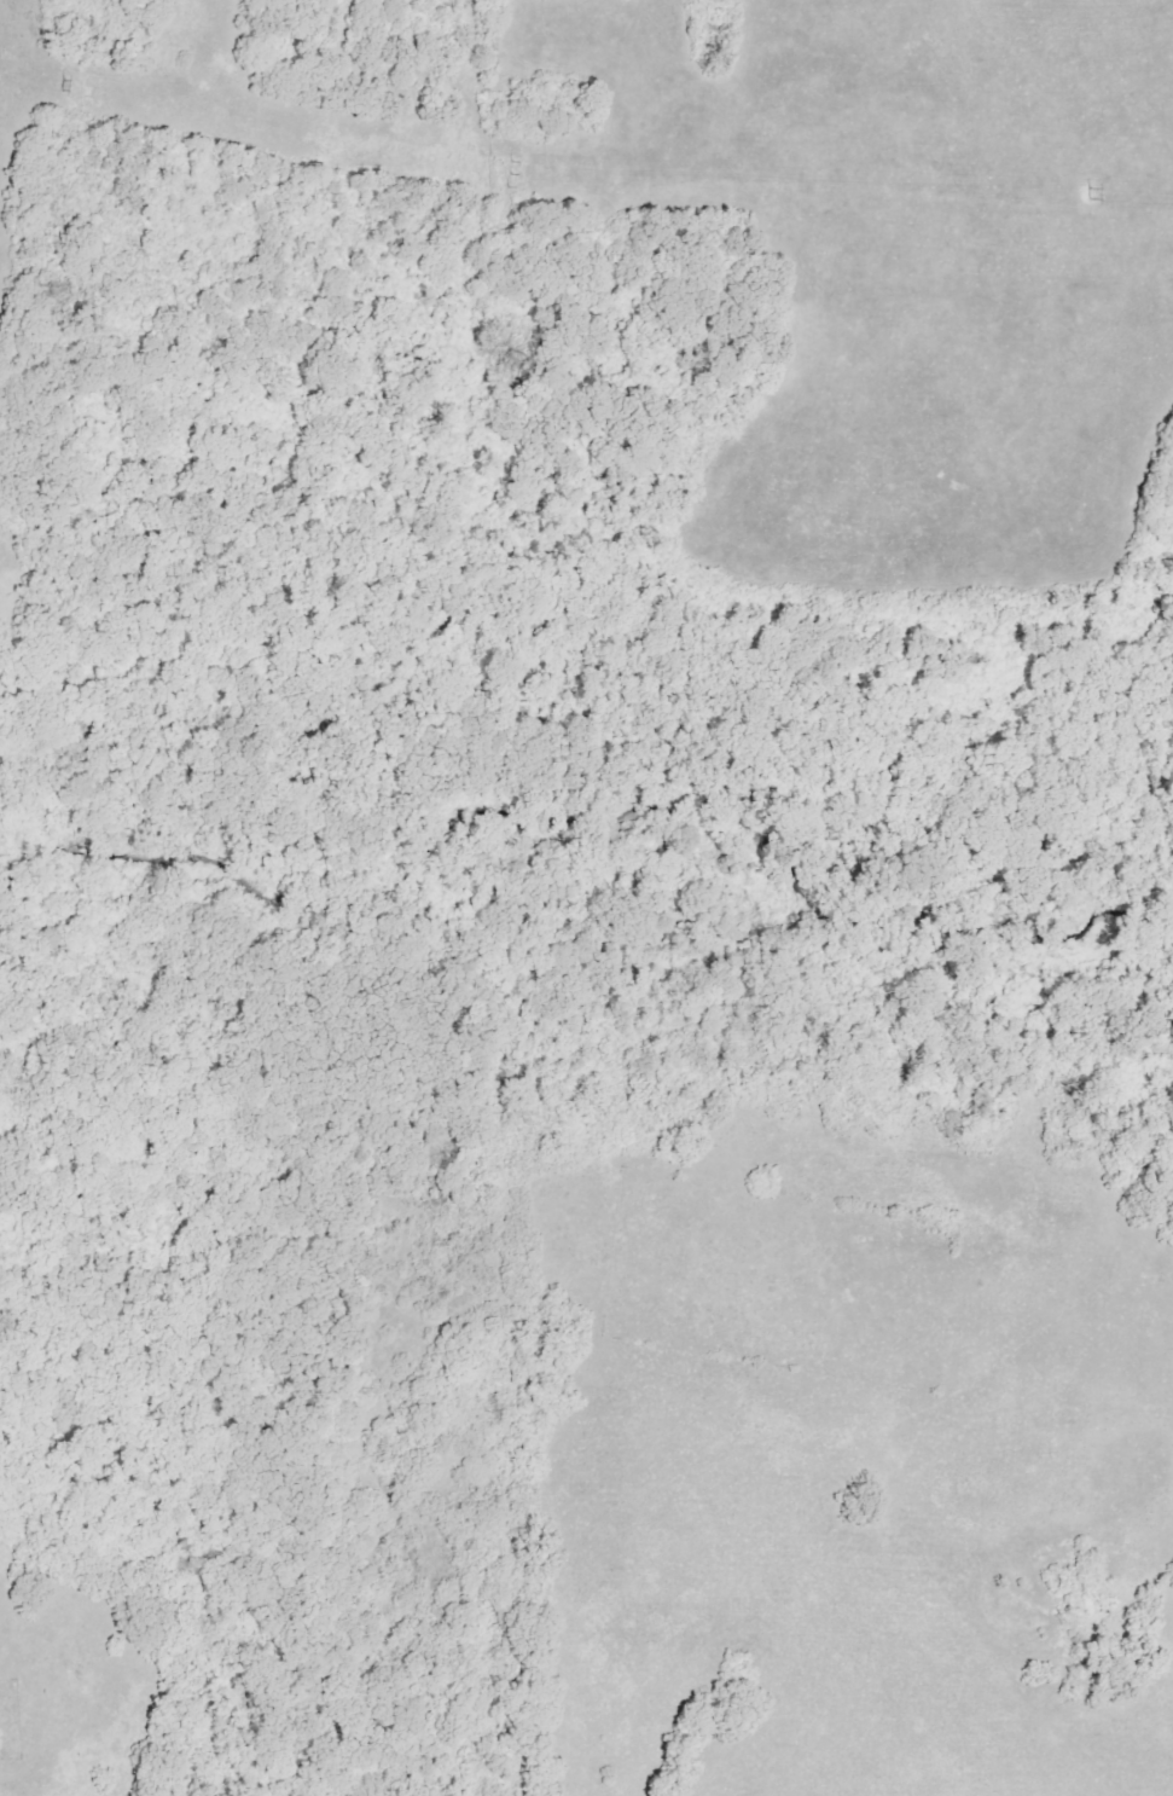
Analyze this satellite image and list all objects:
power tower: (51, 82)
power tower: (500, 169)
power tower: (1080, 196)

